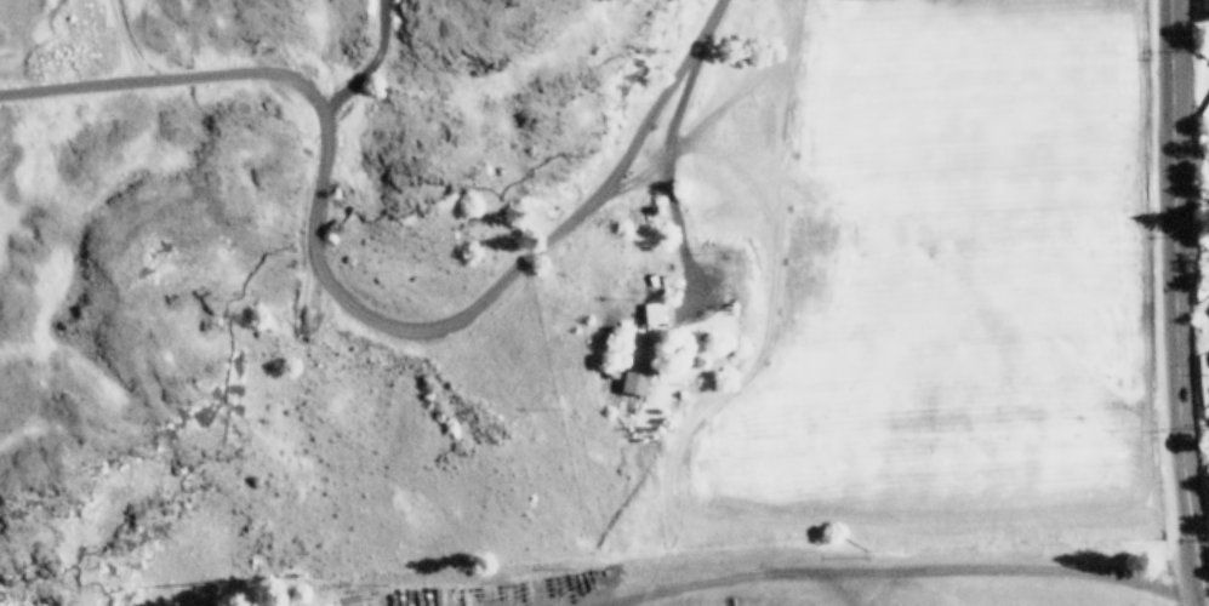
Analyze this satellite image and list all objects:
building: (1204, 10)
building: (1204, 50)
building: (1205, 112)
road: (343, 301)
road: (1179, 303)
building: (1208, 310)
building: (650, 313)
building: (1208, 355)
building: (635, 364)

